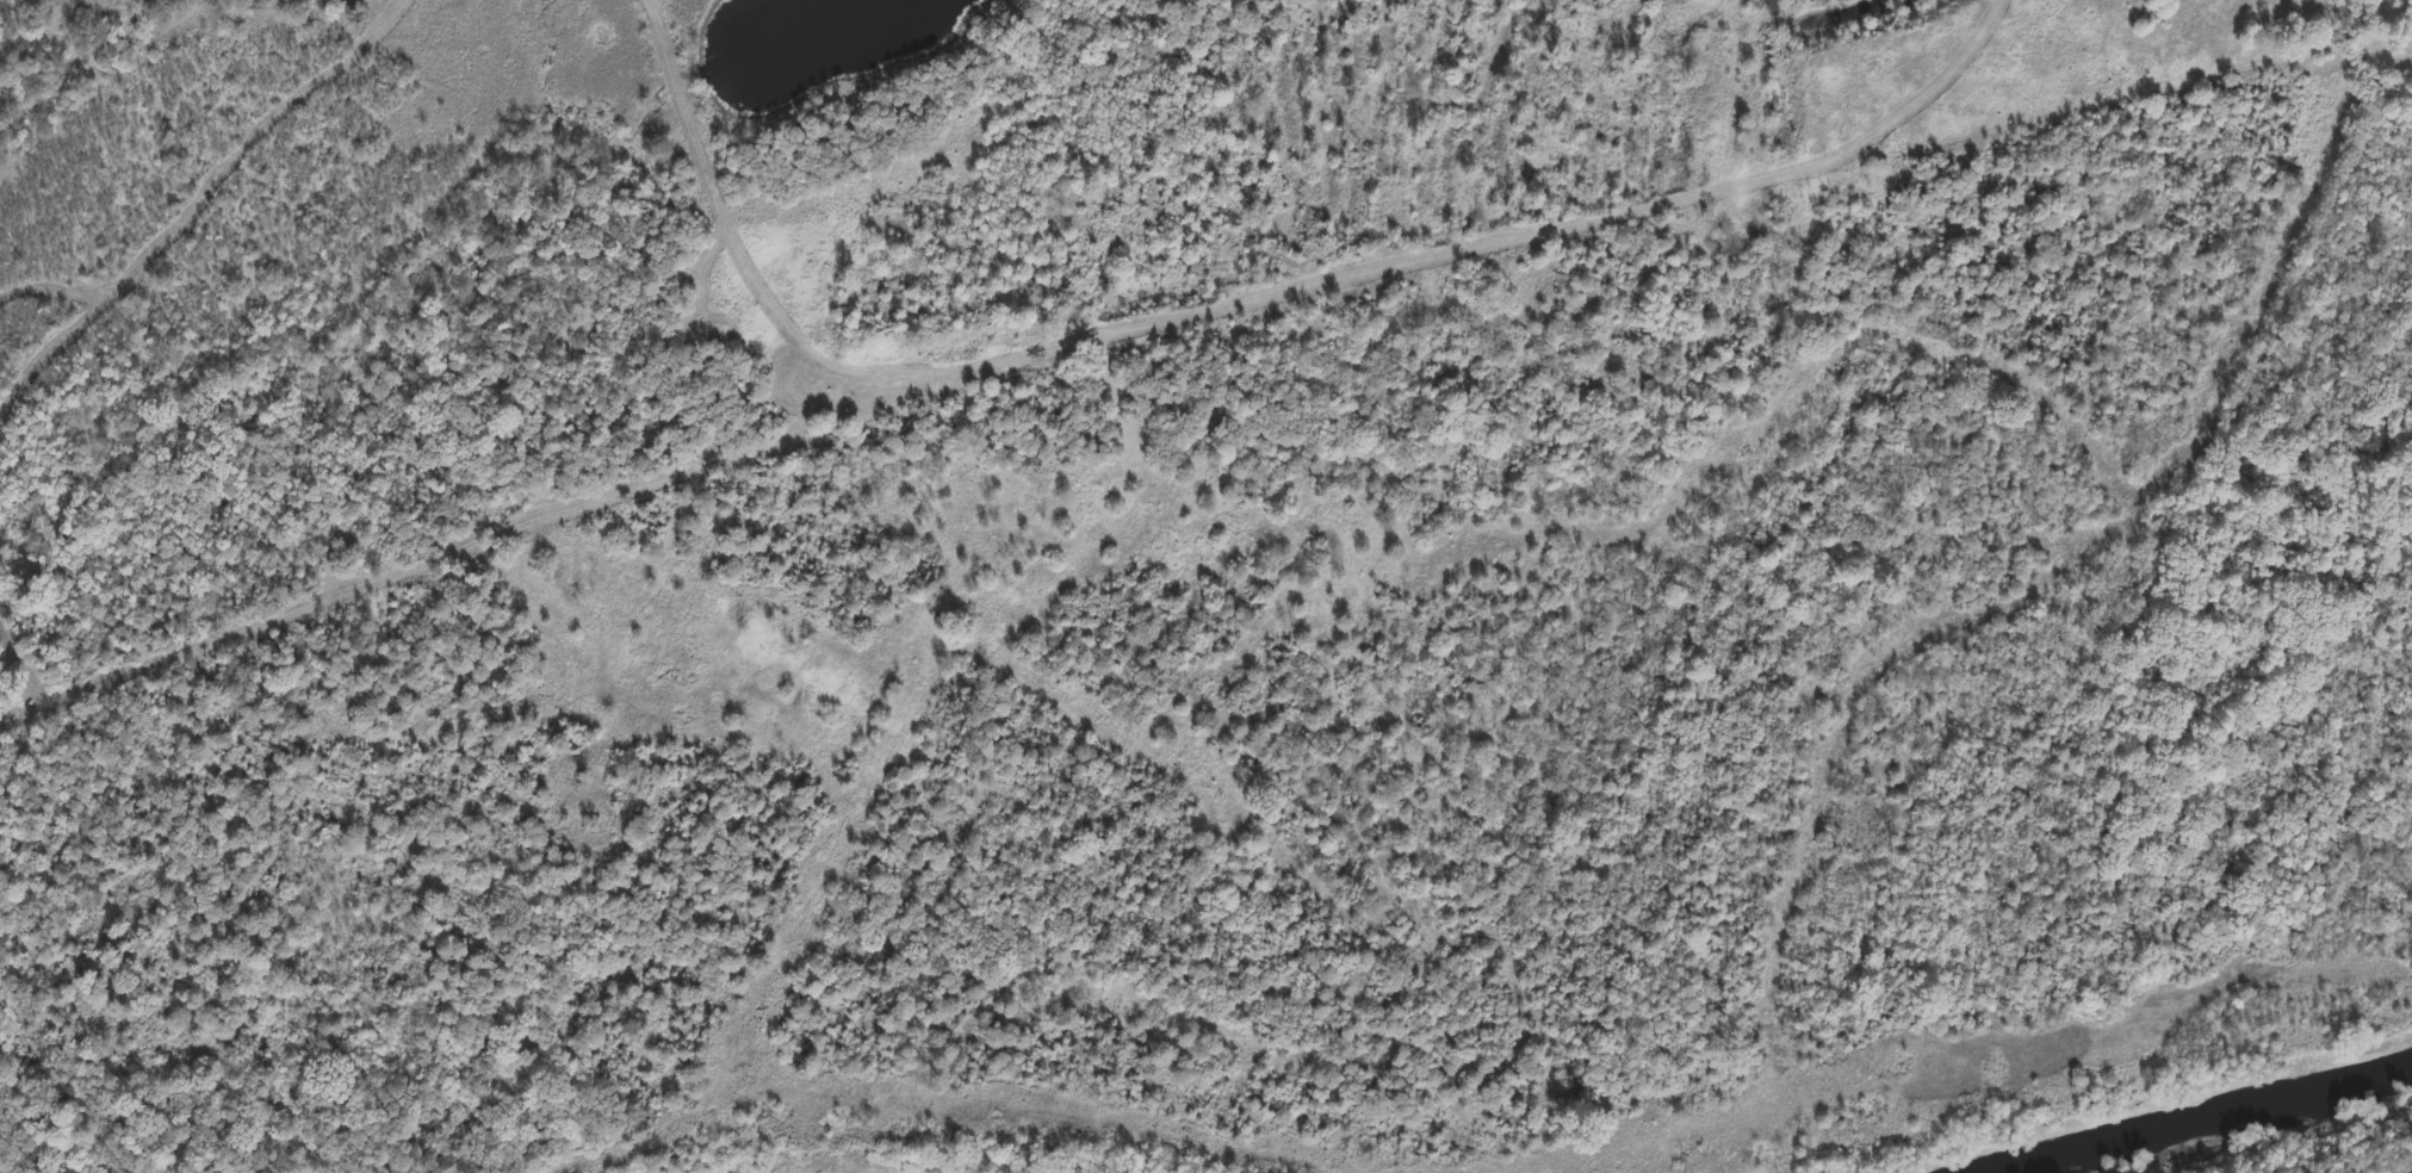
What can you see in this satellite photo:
river: (2213, 1122)

